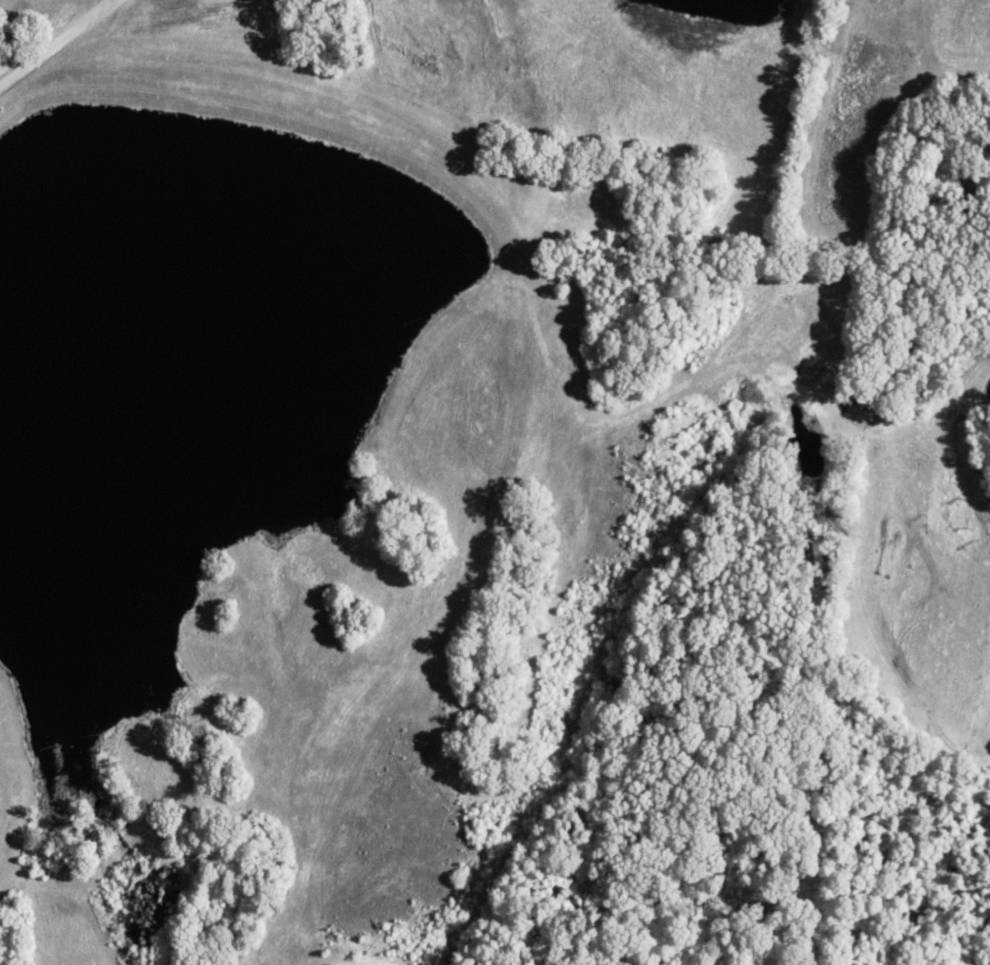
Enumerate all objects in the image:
road: (23, 110)

